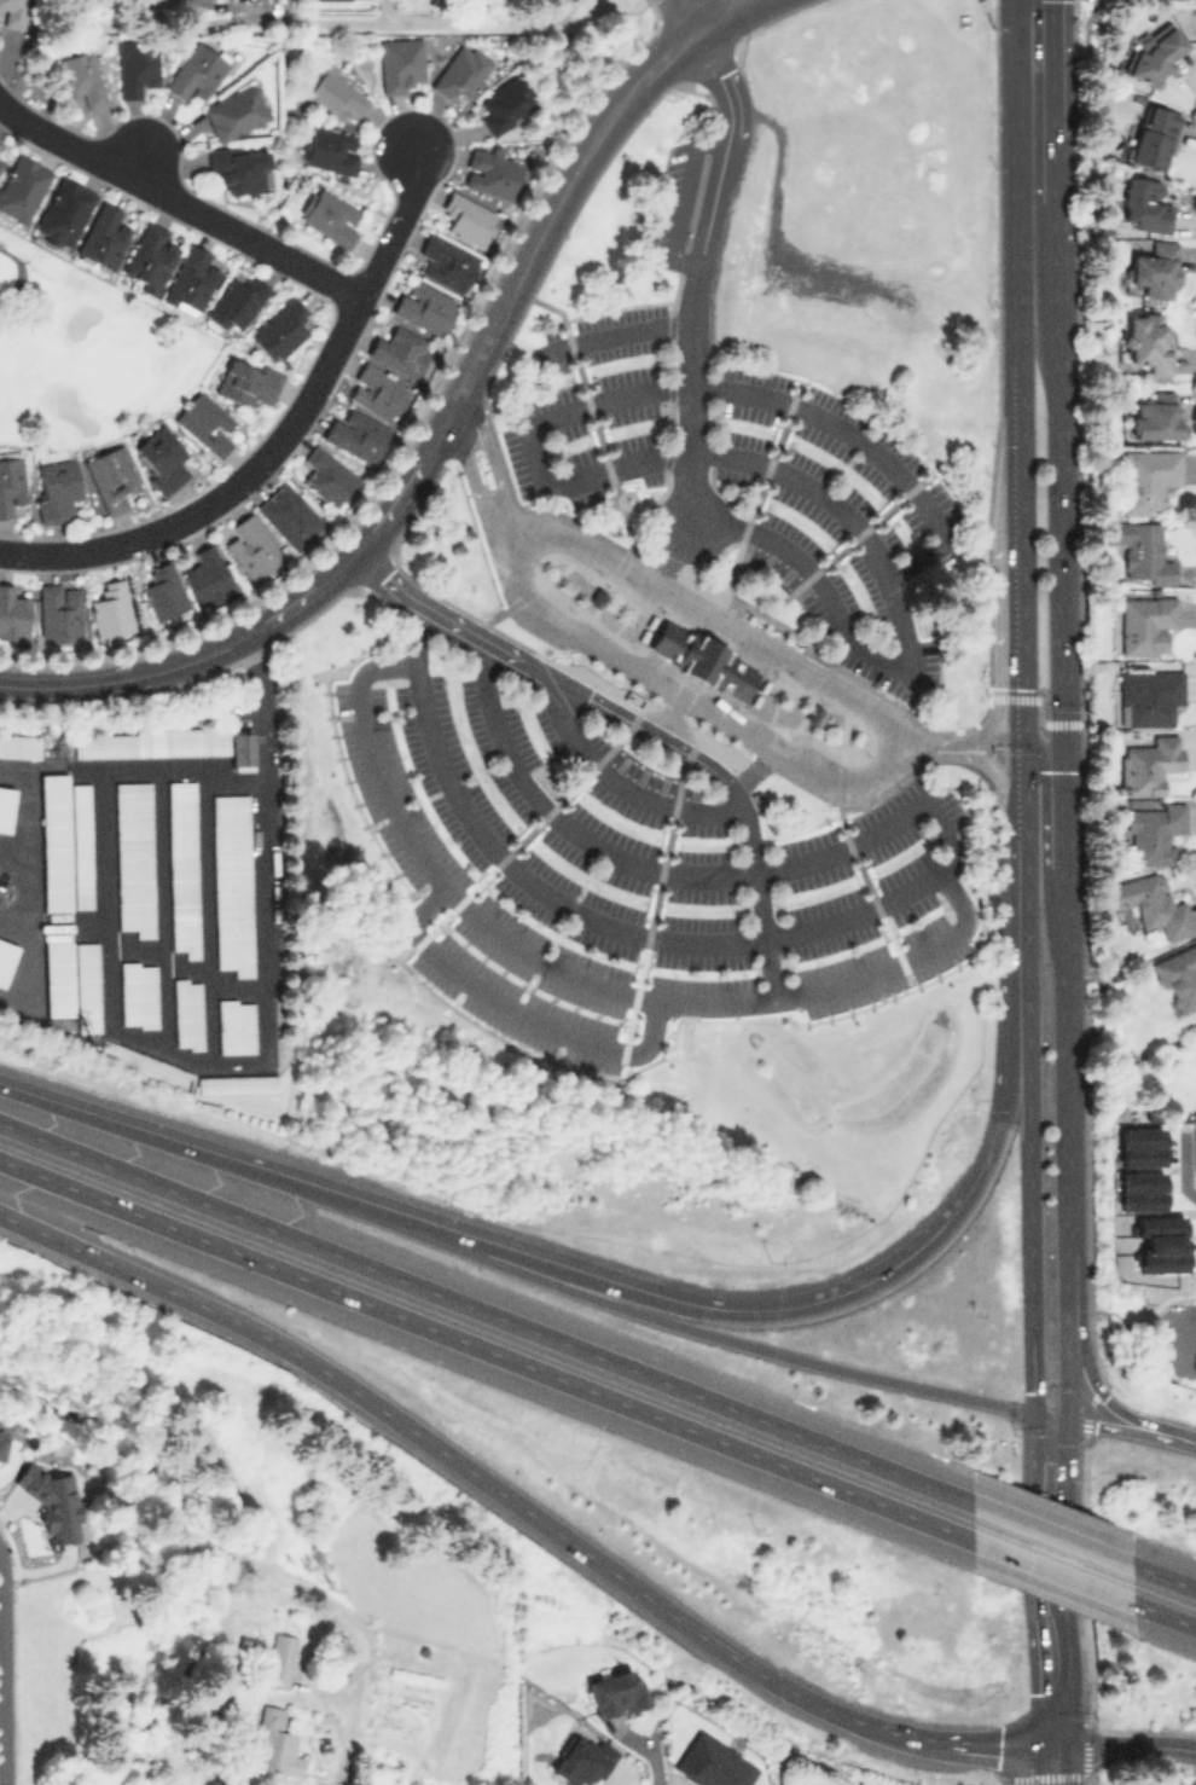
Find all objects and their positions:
building: (190, 2)
building: (12, 11)
road: (710, 13)
road: (677, 15)
road: (390, 22)
building: (1154, 54)
building: (400, 63)
building: (135, 68)
building: (461, 70)
building: (196, 71)
building: (80, 79)
building: (335, 97)
building: (507, 103)
building: (234, 111)
building: (1153, 135)
building: (327, 149)
building: (1, 163)
building: (238, 167)
building: (490, 170)
building: (21, 189)
road: (563, 195)
road: (684, 197)
road: (176, 202)
parking lot: (662, 202)
building: (1144, 203)
building: (63, 213)
building: (329, 214)
building: (468, 218)
road: (395, 222)
building: (101, 236)
building: (147, 256)
building: (446, 261)
road: (1016, 266)
road: (698, 267)
building: (1155, 268)
road: (18, 276)
building: (190, 280)
building: (236, 301)
building: (423, 306)
building: (280, 329)
road: (612, 336)
building: (1146, 338)
building: (400, 349)
park: (85, 350)
road: (489, 357)
road: (476, 358)
road: (1062, 361)
building: (248, 382)
road: (452, 389)
building: (376, 392)
road: (748, 394)
building: (1155, 416)
building: (205, 422)
road: (593, 423)
road: (471, 428)
building: (355, 435)
road: (484, 437)
building: (161, 457)
road: (466, 465)
building: (111, 476)
building: (327, 476)
parking lot: (747, 476)
building: (1146, 479)
building: (11, 481)
building: (56, 488)
road: (223, 489)
road: (754, 499)
building: (290, 515)
road: (505, 532)
road: (568, 532)
building: (251, 546)
building: (1139, 550)
road: (674, 551)
road: (837, 552)
road: (997, 556)
road: (640, 573)
building: (208, 575)
road: (329, 580)
road: (530, 590)
building: (164, 591)
road: (716, 591)
road: (517, 596)
road: (687, 599)
building: (59, 610)
building: (111, 610)
building: (12, 613)
road: (725, 616)
building: (1144, 622)
road: (482, 632)
road: (744, 632)
road: (1018, 637)
road: (591, 643)
building: (702, 659)
road: (808, 668)
road: (661, 683)
road: (72, 684)
building: (1148, 695)
road: (875, 707)
road: (1043, 707)
road: (806, 708)
road: (719, 714)
road: (634, 726)
road: (988, 741)
traffic signals: (1021, 741)
building: (156, 742)
building: (18, 744)
building: (240, 748)
road: (1067, 748)
road: (927, 749)
road: (1045, 753)
building: (1148, 764)
road: (12, 765)
road: (817, 770)
traffic signals: (1067, 772)
road: (997, 776)
road: (1021, 777)
road: (24, 786)
road: (620, 786)
building: (5, 806)
road: (552, 806)
building: (1154, 831)
building: (54, 840)
road: (844, 840)
building: (81, 845)
building: (134, 857)
road: (13, 860)
building: (182, 868)
road: (1046, 869)
parking lot: (626, 873)
road: (657, 877)
building: (232, 883)
road: (912, 891)
road: (104, 894)
building: (1151, 904)
road: (162, 908)
road: (207, 917)
road: (1023, 926)
road: (266, 934)
road: (137, 944)
building: (5, 957)
building: (1178, 976)
building: (58, 978)
road: (576, 979)
building: (87, 986)
building: (138, 993)
building: (186, 1013)
road: (511, 1013)
building: (58, 1022)
building: (234, 1025)
road: (1068, 1035)
road: (1090, 1049)
building: (144, 1062)
building: (236, 1083)
building: (1138, 1146)
building: (1139, 1190)
road: (1029, 1233)
road: (575, 1268)
road: (690, 1297)
road: (487, 1312)
road: (651, 1316)
road: (1190, 1335)
road: (487, 1350)
road: (1139, 1356)
road: (1068, 1361)
road: (1101, 1396)
road: (1092, 1402)
traffic signals: (1052, 1424)
road: (1125, 1430)
road: (1086, 1432)
building: (2, 1443)
road: (1086, 1457)
road: (468, 1468)
road: (1055, 1534)
road: (1, 1566)
road: (1091, 1566)
road: (1082, 1567)
road: (1056, 1571)
road: (1165, 1577)
road: (1052, 1587)
road: (1166, 1615)
building: (279, 1659)
road: (2, 1677)
building: (615, 1692)
road: (1088, 1692)
road: (1088, 1737)
building: (272, 1743)
road: (1124, 1744)
road: (988, 1749)
traffic signals: (1053, 1750)
building: (582, 1761)
building: (712, 1762)
road: (1050, 1767)
road: (1084, 1778)

